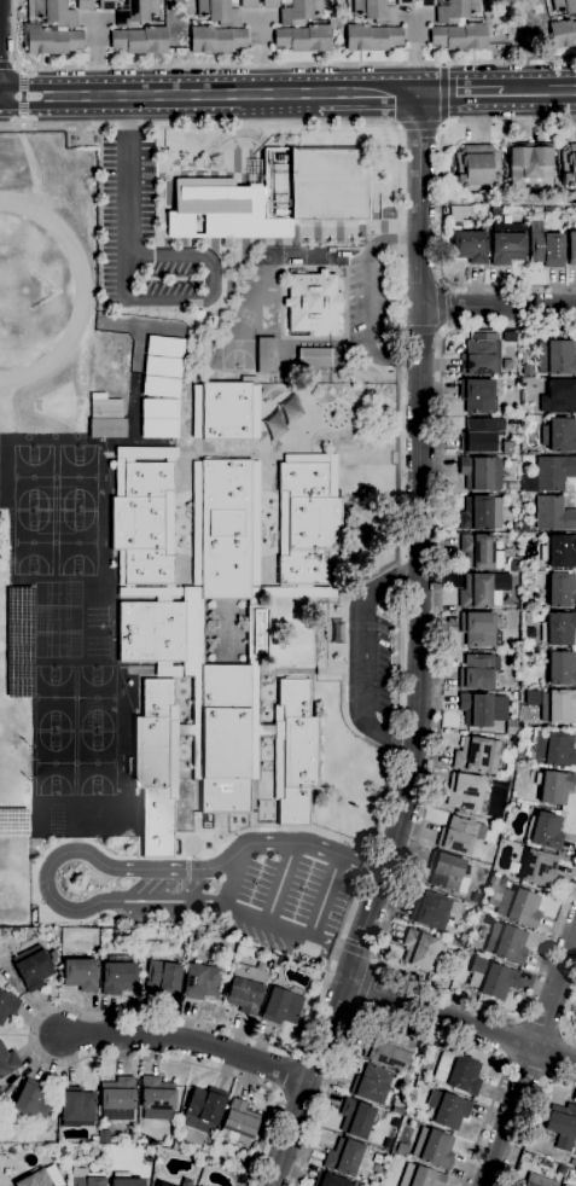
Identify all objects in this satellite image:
building: (405, 2)
building: (426, 2)
building: (249, 4)
building: (270, 4)
building: (85, 5)
building: (107, 5)
building: (564, 5)
building: (301, 11)
building: (374, 11)
building: (455, 11)
building: (52, 12)
building: (138, 12)
building: (219, 12)
building: (563, 34)
building: (460, 36)
building: (372, 37)
building: (304, 39)
building: (140, 40)
building: (216, 40)
building: (52, 41)
road: (10, 65)
road: (264, 65)
road: (541, 91)
road: (464, 92)
road: (210, 94)
road: (443, 95)
road: (23, 97)
road: (420, 129)
building: (529, 164)
building: (569, 167)
building: (477, 168)
road: (126, 175)
building: (315, 184)
road: (441, 204)
building: (220, 211)
building: (459, 214)
parking lot: (145, 236)
building: (507, 244)
building: (470, 246)
building: (572, 249)
building: (547, 250)
park: (304, 255)
road: (162, 256)
road: (123, 277)
road: (441, 283)
track: (30, 290)
track: (81, 296)
road: (366, 298)
road: (193, 300)
building: (313, 301)
road: (438, 307)
road: (498, 313)
road: (402, 329)
road: (421, 330)
road: (441, 331)
building: (164, 345)
park: (237, 355)
building: (266, 356)
building: (481, 356)
building: (315, 357)
building: (560, 357)
building: (163, 367)
building: (526, 370)
building: (161, 388)
building: (477, 396)
building: (559, 396)
park: (54, 405)
building: (107, 408)
building: (159, 408)
building: (226, 411)
building: (107, 428)
building: (159, 428)
building: (559, 435)
building: (477, 436)
building: (479, 472)
building: (549, 473)
park: (33, 477)
park: (77, 478)
building: (481, 513)
building: (553, 514)
building: (142, 524)
building: (308, 524)
building: (516, 528)
building: (226, 529)
road: (419, 535)
park: (33, 543)
park: (76, 543)
building: (559, 551)
building: (482, 552)
building: (514, 566)
building: (483, 591)
building: (562, 591)
park: (57, 593)
building: (254, 597)
building: (524, 617)
park: (58, 620)
building: (478, 629)
building: (558, 629)
building: (151, 632)
building: (257, 632)
building: (336, 632)
building: (19, 640)
park: (58, 646)
road: (362, 657)
building: (193, 668)
parking lot: (383, 668)
building: (562, 669)
building: (477, 672)
road: (396, 680)
park: (54, 697)
park: (95, 698)
building: (558, 707)
building: (482, 709)
building: (256, 721)
building: (511, 727)
building: (225, 739)
road: (436, 743)
building: (553, 749)
building: (297, 752)
building: (477, 755)
park: (54, 762)
park: (97, 762)
building: (155, 768)
building: (554, 787)
building: (465, 791)
building: (13, 819)
building: (545, 831)
building: (460, 835)
road: (70, 851)
building: (539, 868)
building: (446, 871)
road: (233, 876)
road: (279, 883)
road: (322, 899)
building: (513, 903)
building: (434, 909)
building: (462, 937)
building: (506, 943)
building: (458, 944)
road: (331, 949)
building: (420, 949)
building: (466, 954)
building: (34, 970)
building: (80, 975)
building: (117, 975)
building: (162, 977)
building: (490, 978)
building: (199, 982)
road: (366, 988)
building: (245, 989)
building: (7, 1006)
building: (280, 1007)
road: (568, 1018)
road: (458, 1021)
road: (406, 1024)
road: (542, 1024)
road: (510, 1039)
road: (187, 1042)
building: (390, 1050)
road: (558, 1057)
road: (530, 1058)
building: (7, 1060)
road: (525, 1071)
building: (456, 1072)
road: (310, 1077)
building: (371, 1085)
building: (117, 1094)
building: (157, 1099)
building: (29, 1100)
building: (77, 1106)
building: (203, 1110)
building: (396, 1111)
building: (450, 1111)
building: (355, 1118)
road: (531, 1120)
building: (238, 1123)
building: (562, 1126)
building: (103, 1136)
building: (545, 1136)
road: (262, 1141)
building: (432, 1149)
building: (343, 1157)
building: (377, 1159)
building: (419, 1176)
building: (41, 1178)
building: (85, 1179)
building: (124, 1180)
building: (332, 1181)
building: (162, 1185)
building: (526, 1185)
building: (564, 1185)

